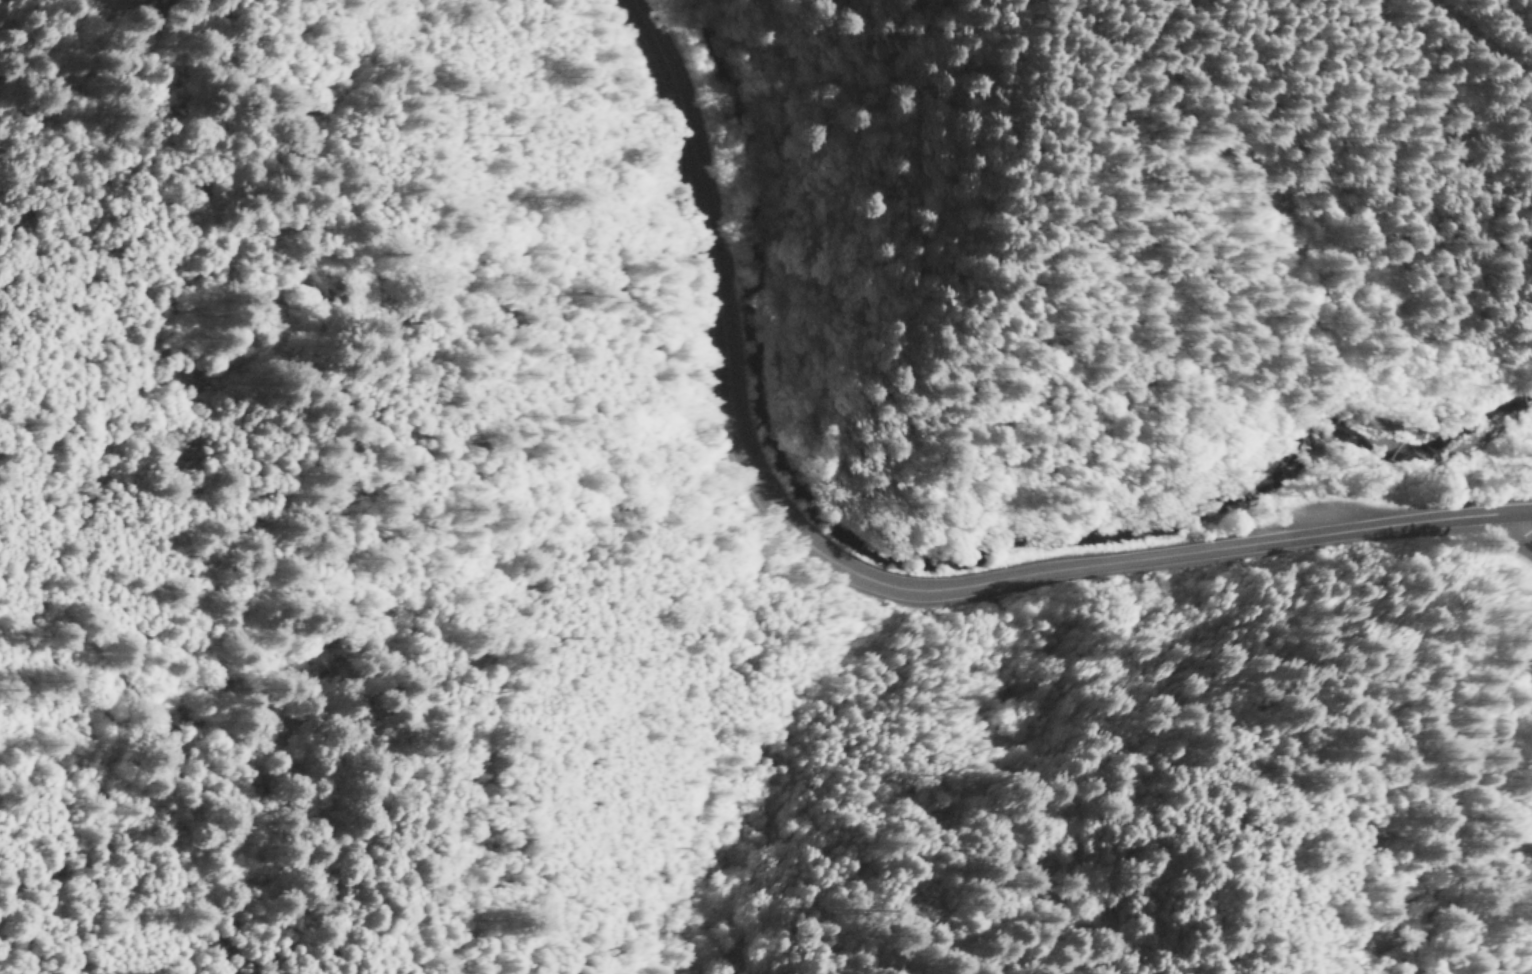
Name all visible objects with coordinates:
road: (871, 592)

